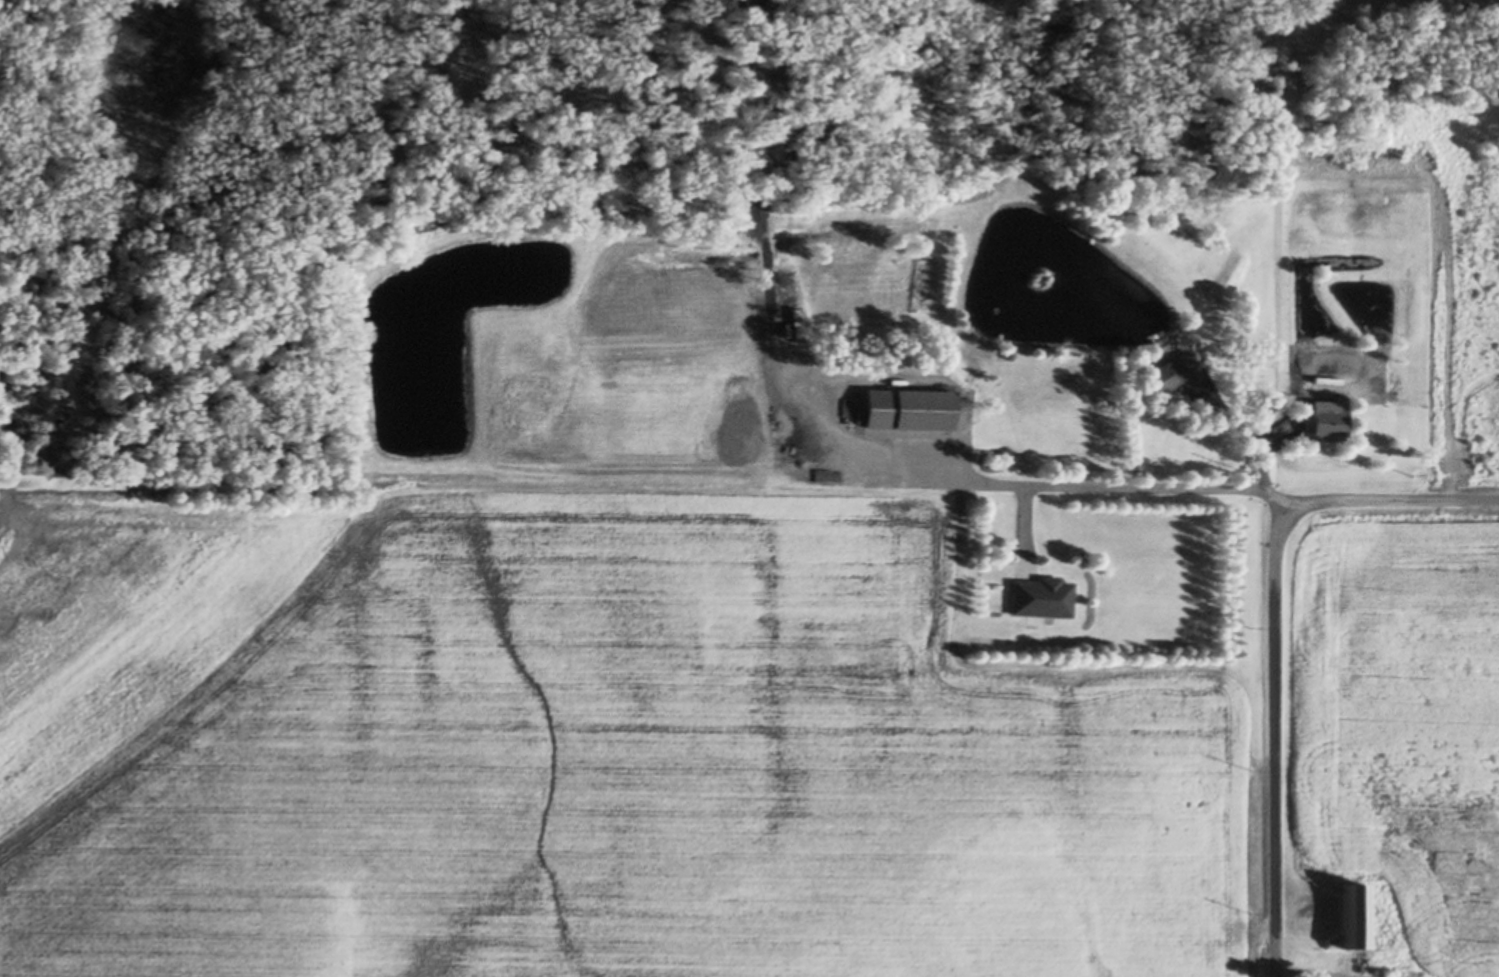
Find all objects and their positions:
building: (786, 325)
building: (1008, 349)
building: (1175, 367)
building: (906, 402)
building: (1326, 418)
road: (1245, 430)
road: (832, 443)
building: (1041, 592)
road: (1275, 639)
building: (1350, 912)

